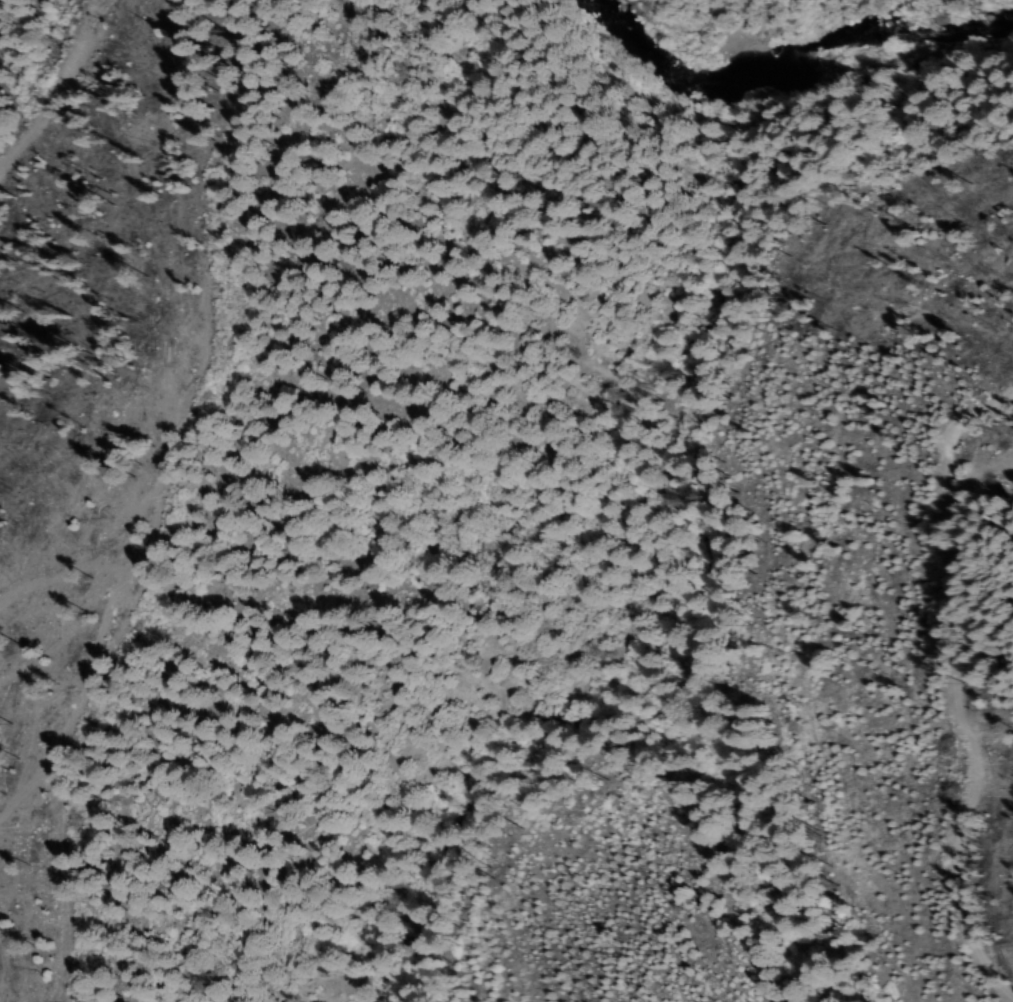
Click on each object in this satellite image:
river: (872, 41)
river: (639, 58)

